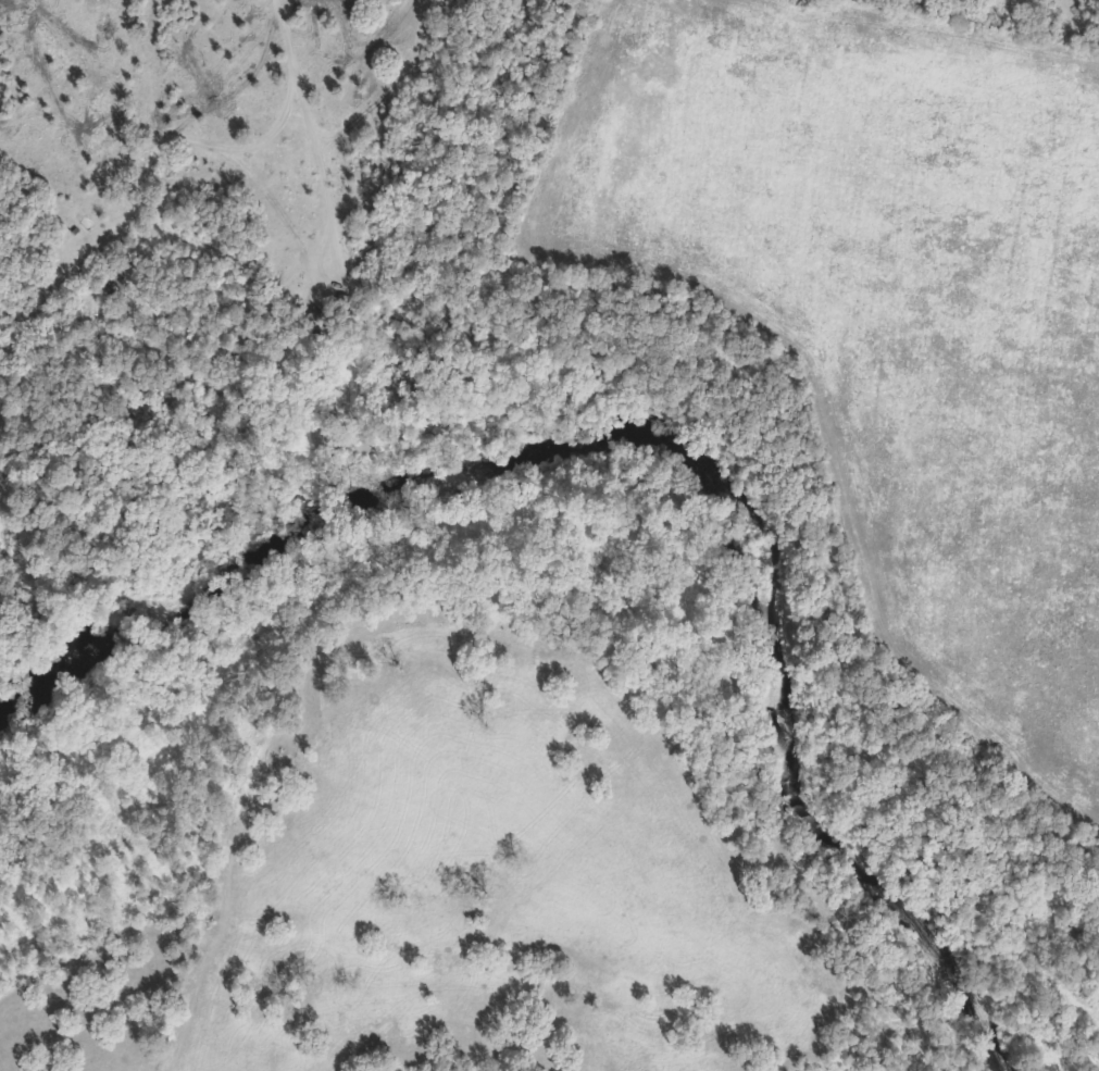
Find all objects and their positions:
road: (224, 150)

